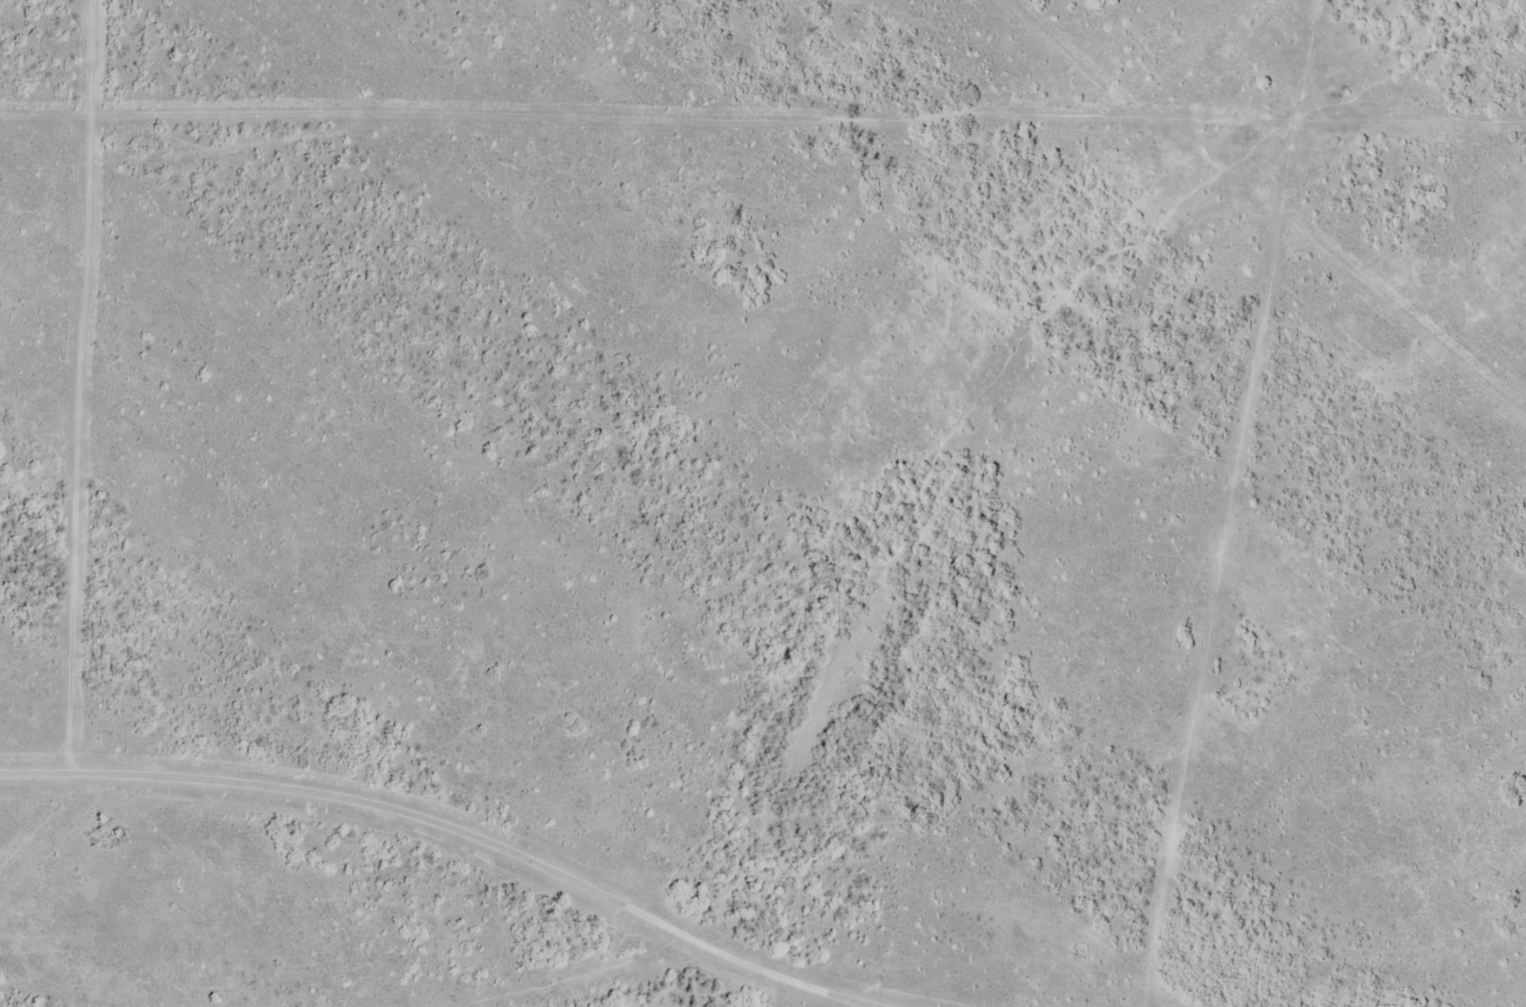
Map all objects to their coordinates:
road: (430, 837)

